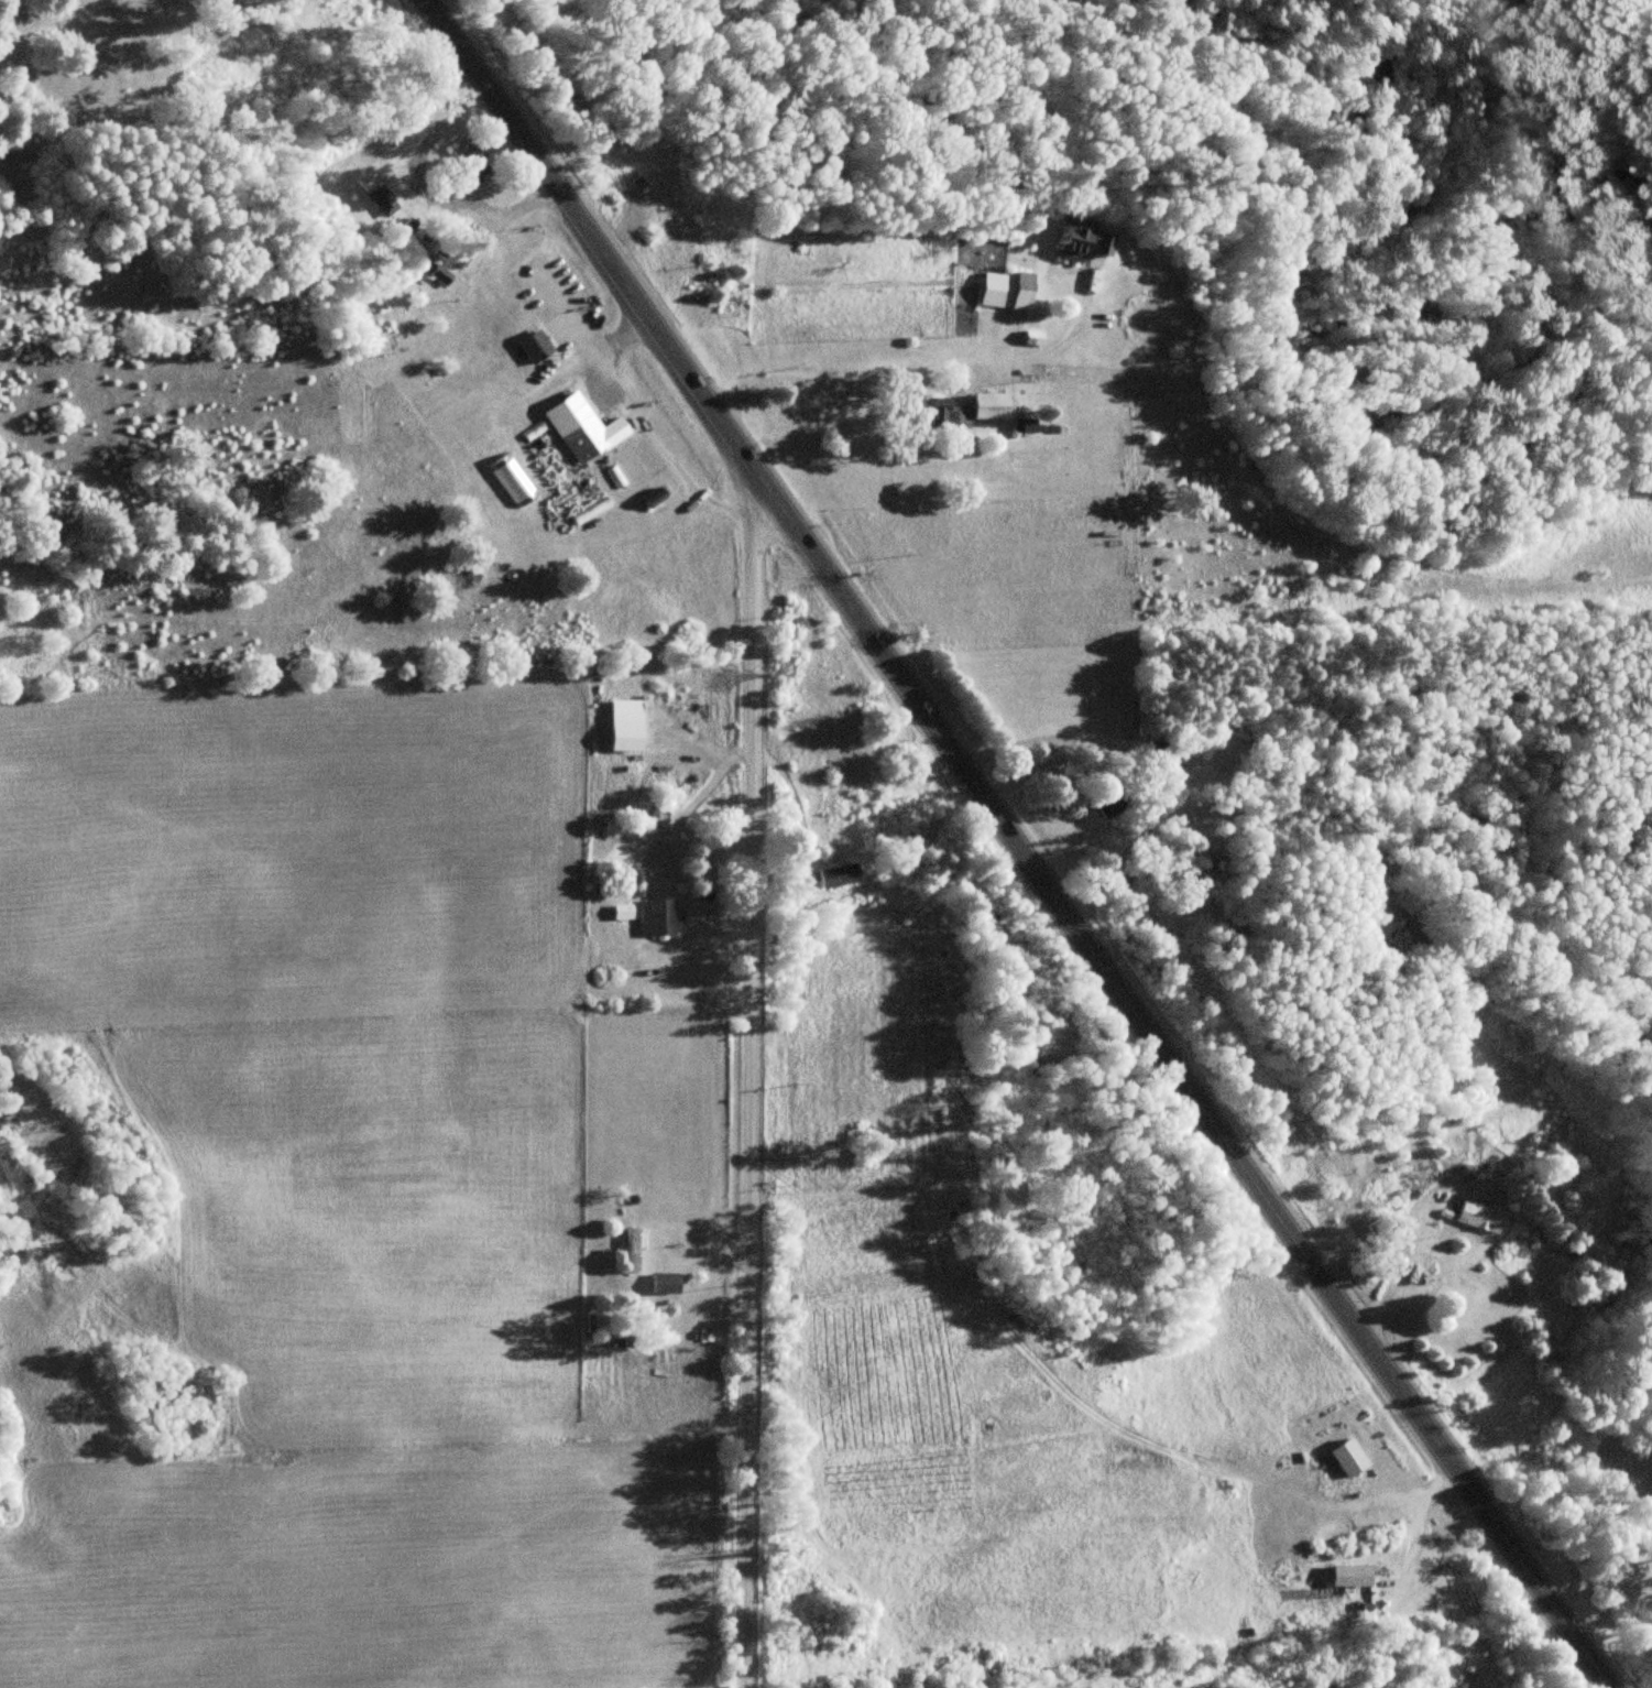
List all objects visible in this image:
building: (470, 160)
building: (1081, 240)
building: (1008, 291)
building: (535, 347)
building: (992, 406)
building: (952, 410)
building: (583, 429)
building: (1128, 707)
building: (1107, 803)
road: (1013, 845)
building: (839, 876)
building: (660, 917)
road: (737, 1077)
building: (1480, 1217)
building: (633, 1249)
building: (666, 1283)
road: (1597, 1577)

